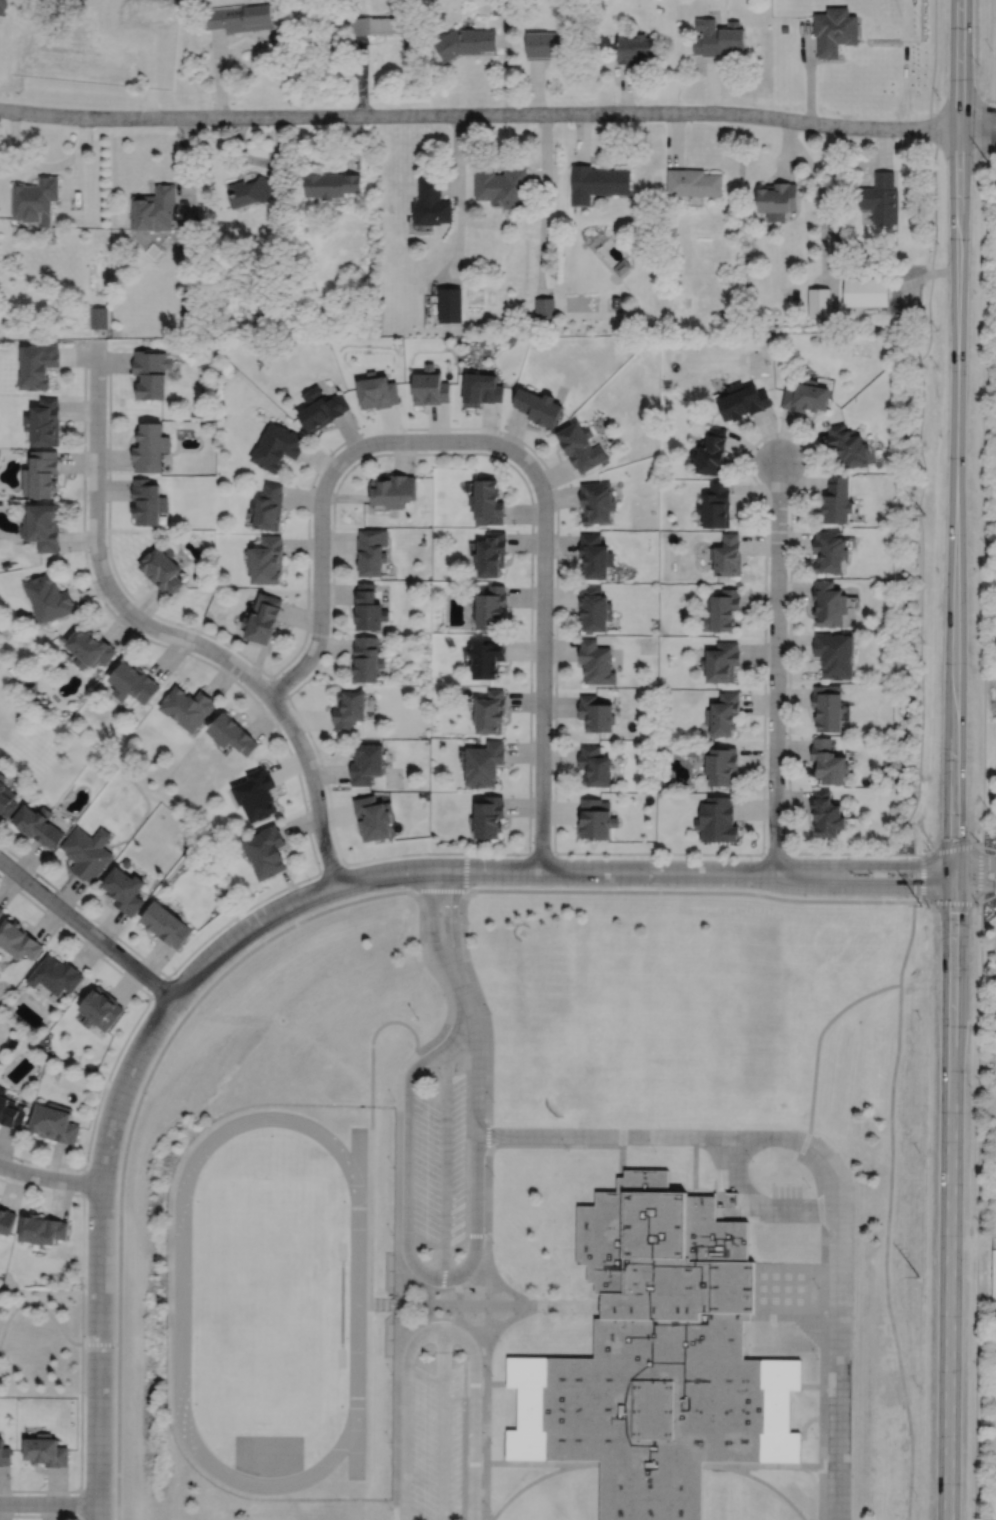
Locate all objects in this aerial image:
building: (499, 7)
building: (147, 9)
building: (238, 18)
building: (380, 24)
building: (834, 30)
building: (717, 38)
building: (465, 40)
road: (604, 43)
building: (547, 45)
building: (634, 48)
street lamp: (979, 65)
road: (506, 66)
road: (147, 72)
road: (810, 72)
road: (218, 73)
road: (932, 73)
road: (360, 75)
road: (713, 85)
road: (537, 88)
road: (627, 89)
road: (990, 100)
road: (479, 115)
road: (977, 121)
road: (985, 126)
road: (977, 136)
road: (582, 138)
road: (675, 140)
road: (351, 142)
road: (788, 148)
road: (884, 149)
street lamp: (995, 153)
road: (957, 154)
road: (990, 155)
road: (259, 161)
road: (45, 166)
road: (186, 169)
road: (76, 179)
building: (597, 182)
building: (693, 182)
building: (330, 183)
building: (501, 188)
building: (250, 190)
building: (884, 198)
building: (778, 199)
building: (34, 200)
building: (431, 202)
road: (545, 205)
road: (822, 205)
road: (460, 208)
building: (152, 209)
building: (830, 225)
building: (186, 234)
building: (622, 267)
road: (924, 275)
building: (867, 291)
building: (615, 302)
building: (819, 302)
building: (450, 304)
building: (544, 308)
building: (186, 311)
building: (727, 316)
building: (98, 318)
building: (37, 365)
building: (150, 374)
building: (430, 386)
building: (480, 390)
building: (376, 391)
building: (806, 396)
building: (742, 401)
building: (320, 408)
building: (537, 408)
building: (44, 424)
street lamp: (404, 430)
road: (956, 432)
street lamp: (501, 434)
road: (428, 440)
building: (849, 446)
building: (276, 447)
building: (581, 448)
building: (149, 449)
street lamp: (332, 453)
building: (711, 453)
street lamp: (804, 472)
building: (40, 474)
street lamp: (105, 475)
street lamp: (552, 488)
building: (393, 490)
road: (920, 497)
building: (839, 501)
building: (147, 504)
building: (486, 504)
building: (597, 504)
building: (716, 506)
building: (268, 508)
street lamp: (330, 522)
road: (985, 527)
building: (42, 528)
building: (371, 552)
building: (831, 552)
building: (490, 557)
building: (727, 557)
building: (595, 559)
building: (266, 562)
building: (161, 571)
street lamp: (788, 577)
street lamp: (534, 581)
road: (320, 588)
building: (48, 600)
street lamp: (107, 603)
building: (829, 603)
building: (370, 608)
building: (491, 608)
building: (722, 610)
building: (594, 611)
building: (263, 616)
road: (167, 632)
street lamp: (329, 632)
road: (531, 634)
building: (89, 646)
building: (834, 652)
street lamp: (194, 653)
park: (0, 657)
building: (490, 657)
building: (367, 658)
building: (721, 659)
road: (543, 662)
building: (595, 662)
road: (776, 667)
building: (133, 680)
street lamp: (786, 681)
street lamp: (533, 686)
road: (278, 687)
building: (188, 706)
street lamp: (290, 706)
building: (828, 706)
building: (349, 708)
building: (492, 711)
building: (594, 712)
building: (722, 712)
building: (232, 732)
building: (829, 760)
road: (293, 761)
building: (367, 762)
building: (485, 762)
building: (594, 765)
building: (721, 765)
street lamp: (785, 786)
street lamp: (532, 791)
building: (257, 794)
building: (6, 797)
street lamp: (308, 808)
building: (826, 813)
building: (490, 817)
building: (372, 818)
building: (595, 819)
building: (717, 819)
building: (38, 824)
road: (554, 826)
road: (988, 847)
street lamp: (929, 850)
building: (268, 851)
building: (88, 852)
road: (541, 853)
road: (775, 853)
street lamp: (429, 855)
street lamp: (518, 856)
street lamp: (655, 857)
street lamp: (751, 859)
road: (974, 863)
road: (863, 864)
traffic signals: (953, 864)
road: (332, 868)
road: (454, 869)
road: (465, 871)
road: (953, 875)
road: (925, 877)
street lamp: (311, 879)
road: (863, 885)
road: (974, 885)
traffic signals: (953, 887)
building: (125, 889)
road: (438, 890)
road: (689, 891)
street lamp: (23, 892)
road: (988, 897)
road: (919, 901)
road: (953, 902)
building: (1, 910)
street lamp: (238, 918)
building: (167, 924)
road: (450, 924)
road: (432, 928)
road: (87, 929)
building: (19, 940)
street lamp: (119, 941)
road: (910, 943)
park: (569, 963)
street lamp: (175, 973)
building: (57, 975)
road: (440, 977)
road: (460, 985)
road: (159, 987)
building: (102, 1009)
road: (484, 1011)
road: (458, 1018)
road: (130, 1030)
road: (817, 1048)
road: (421, 1061)
road: (479, 1061)
street lamp: (110, 1079)
park: (772, 1088)
building: (10, 1112)
building: (56, 1123)
road: (130, 1127)
road: (682, 1137)
road: (623, 1142)
road: (372, 1146)
road: (399, 1151)
road: (408, 1159)
street lamp: (89, 1160)
street lamp: (17, 1161)
road: (445, 1161)
parking lot: (438, 1165)
road: (695, 1165)
road: (359, 1170)
road: (49, 1178)
road: (817, 1179)
road: (84, 1180)
road: (739, 1183)
road: (489, 1197)
road: (950, 1203)
road: (808, 1209)
road: (977, 1210)
road: (747, 1212)
road: (478, 1217)
building: (7, 1221)
building: (44, 1231)
road: (99, 1250)
road: (885, 1253)
road: (824, 1263)
road: (414, 1264)
street lamp: (85, 1286)
road: (508, 1288)
road: (441, 1289)
road: (399, 1299)
park: (269, 1303)
park: (341, 1305)
road: (488, 1306)
road: (499, 1306)
road: (50, 1314)
road: (774, 1316)
road: (809, 1317)
road: (445, 1318)
road: (507, 1322)
road: (809, 1332)
road: (824, 1332)
road: (753, 1337)
road: (418, 1338)
road: (82, 1340)
park: (42, 1342)
building: (656, 1358)
road: (837, 1365)
road: (495, 1383)
road: (811, 1386)
road: (180, 1393)
street lamp: (83, 1399)
road: (823, 1406)
road: (475, 1416)
road: (443, 1424)
road: (805, 1425)
road: (397, 1432)
road: (406, 1435)
road: (485, 1436)
road: (357, 1440)
street lamp: (491, 1442)
parking lot: (435, 1444)
building: (48, 1451)
building: (5, 1454)
road: (528, 1463)
road: (585, 1464)
road: (773, 1466)
road: (759, 1479)
road: (526, 1484)
road: (822, 1493)
road: (49, 1503)
road: (80, 1503)
street lamp: (391, 1509)
street lamp: (490, 1510)
street lamp: (18, 1513)
road: (406, 1514)
road: (42, 1515)

